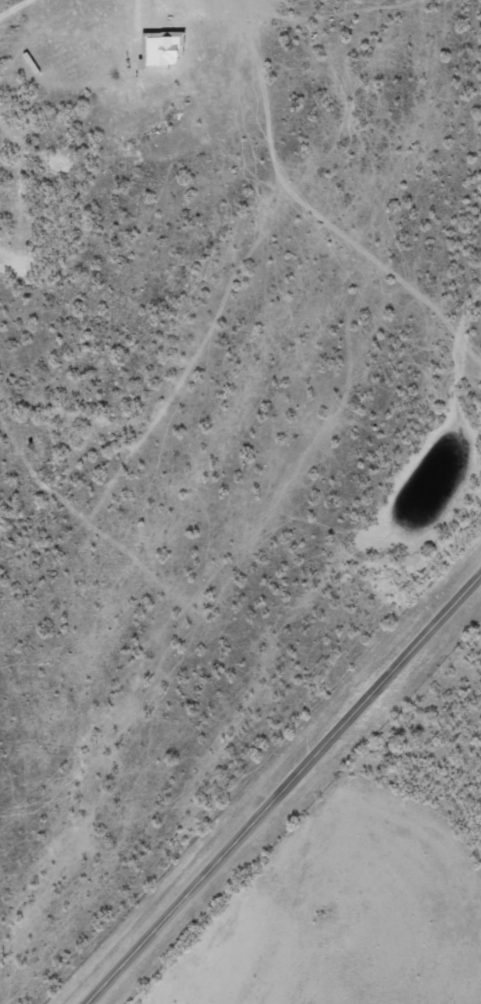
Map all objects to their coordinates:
road: (1, 1)
building: (162, 51)
road: (285, 790)

